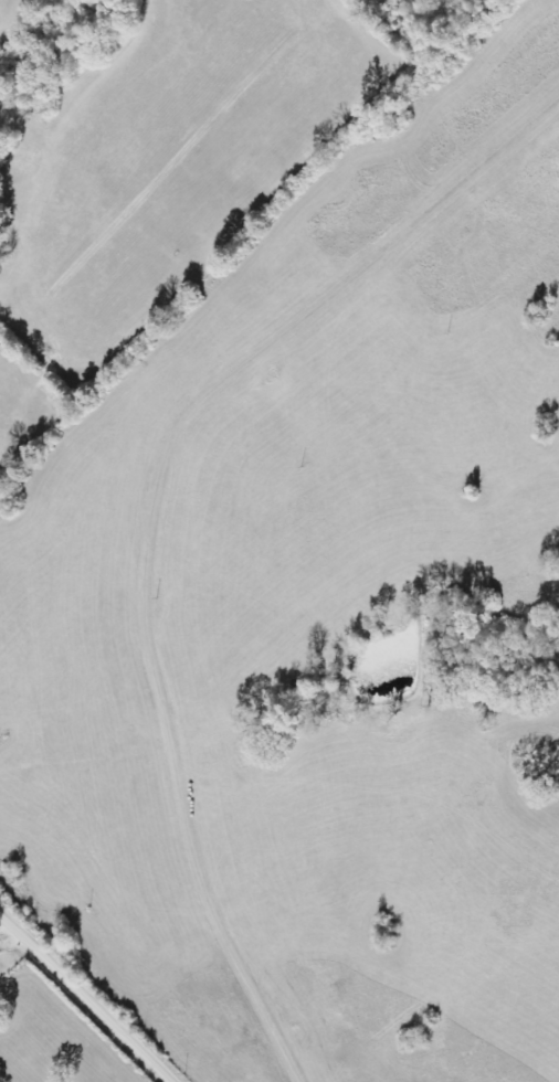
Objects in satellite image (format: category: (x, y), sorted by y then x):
road: (15, 15)
road: (75, 1006)

